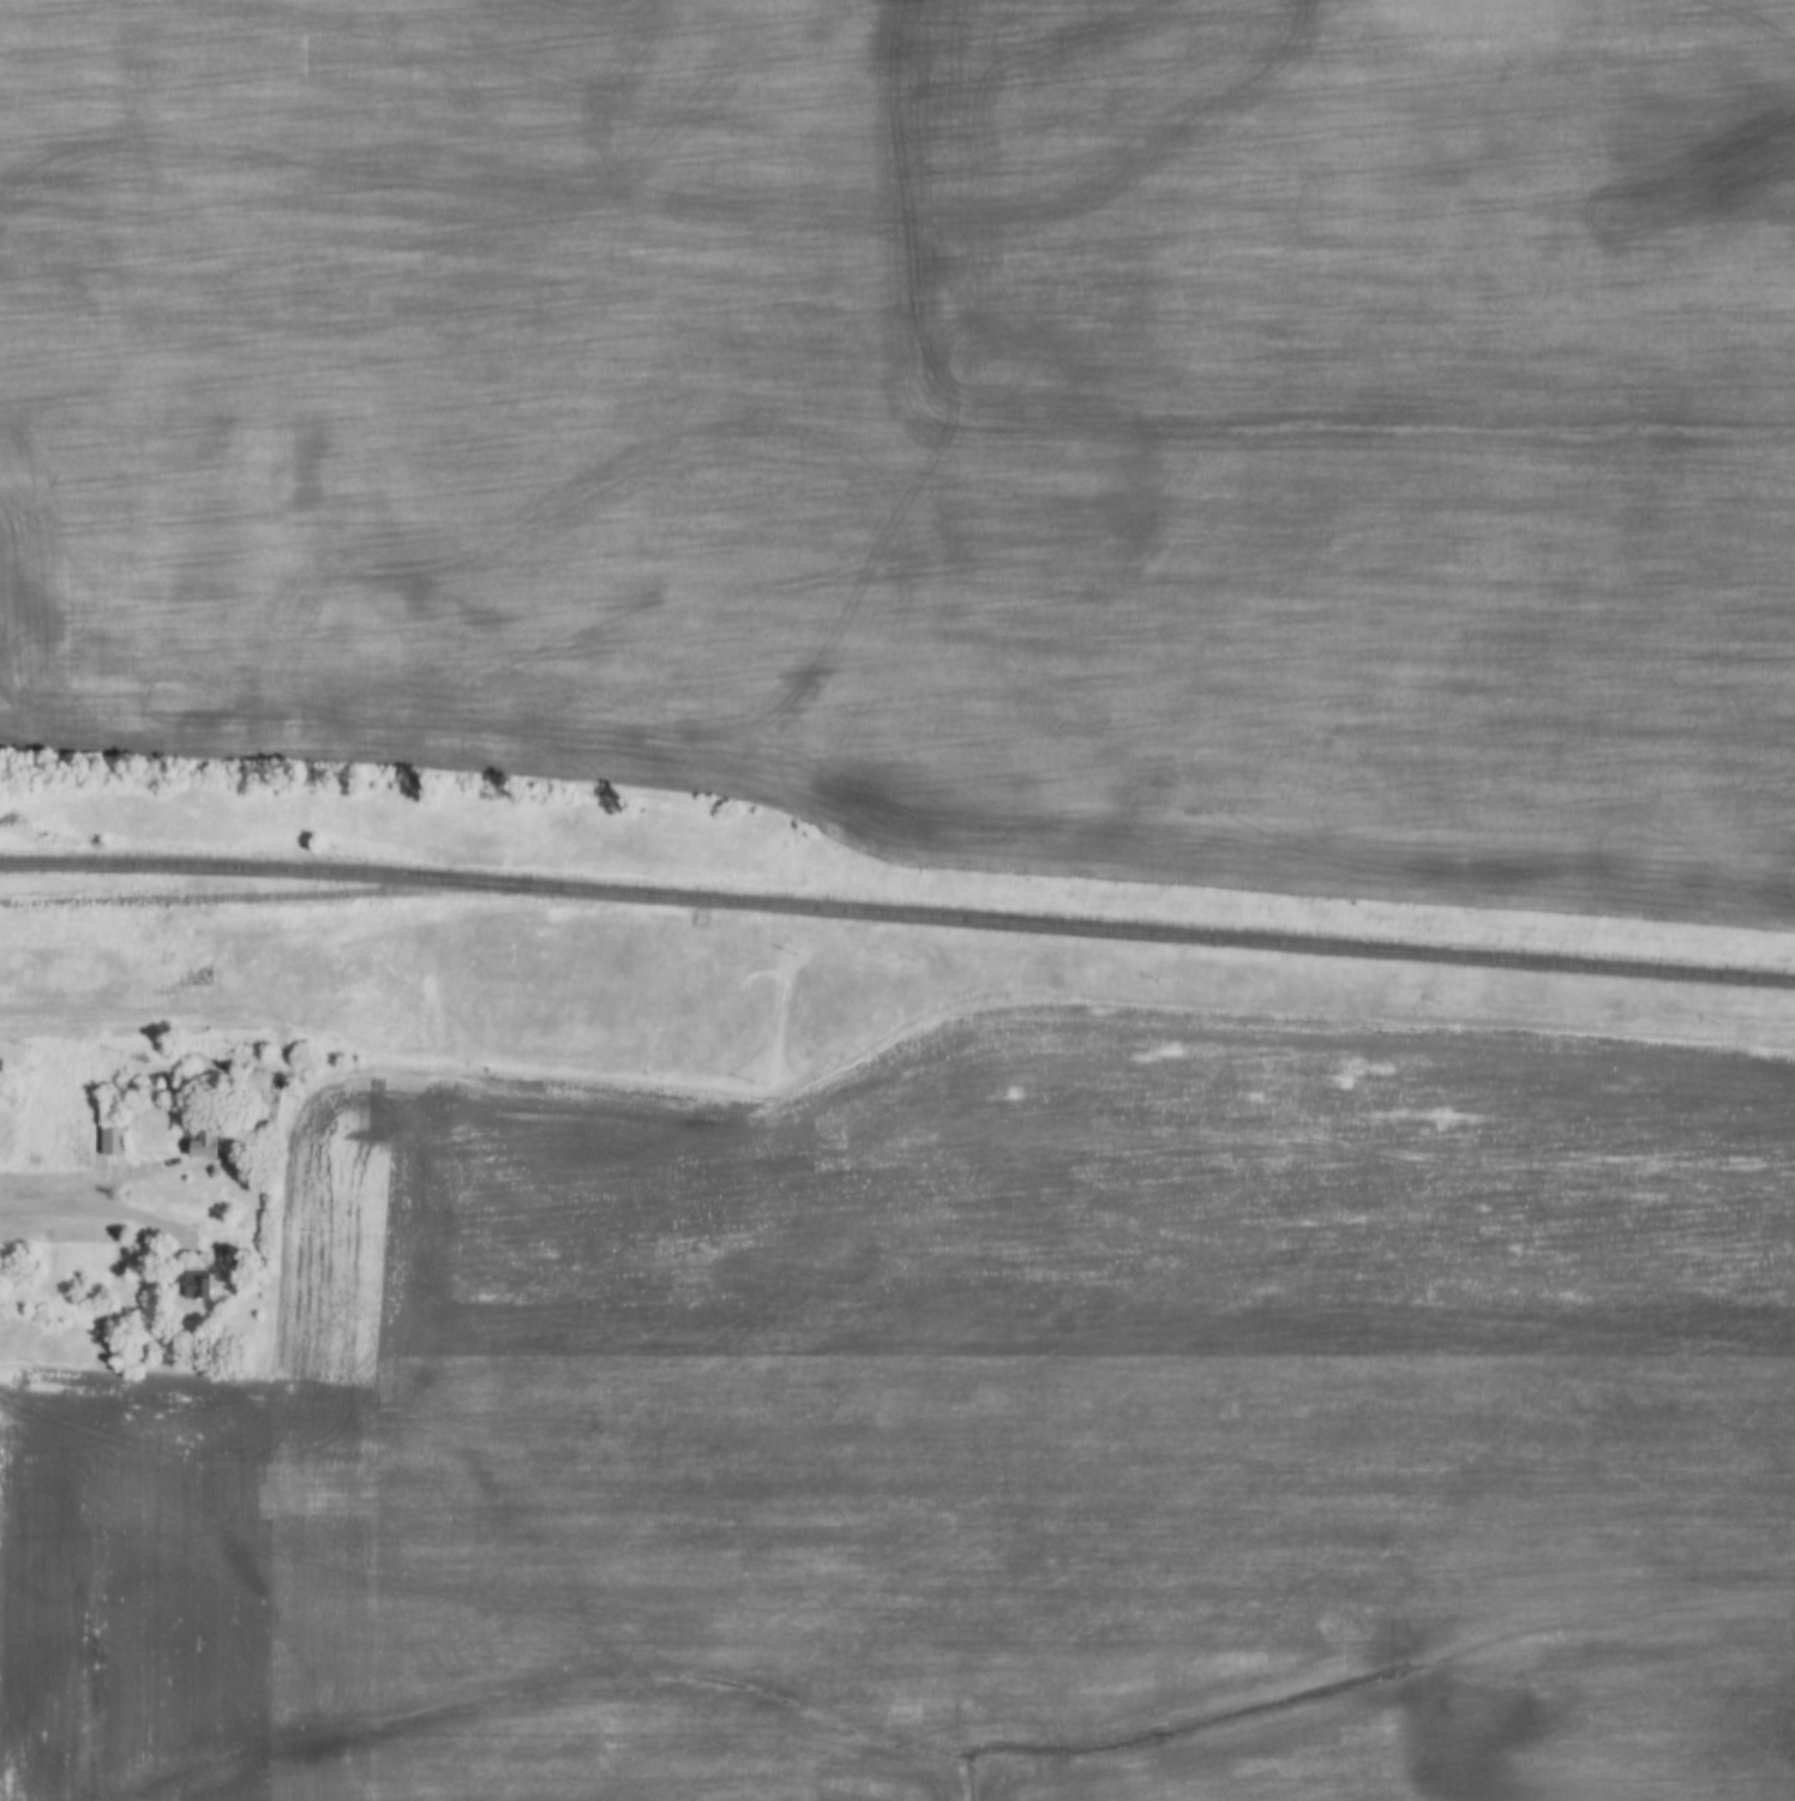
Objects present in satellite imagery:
railway: (276, 896)
railway: (898, 913)
road: (98, 1013)
building: (114, 1141)
building: (204, 1142)
road: (60, 1202)
building: (198, 1285)

